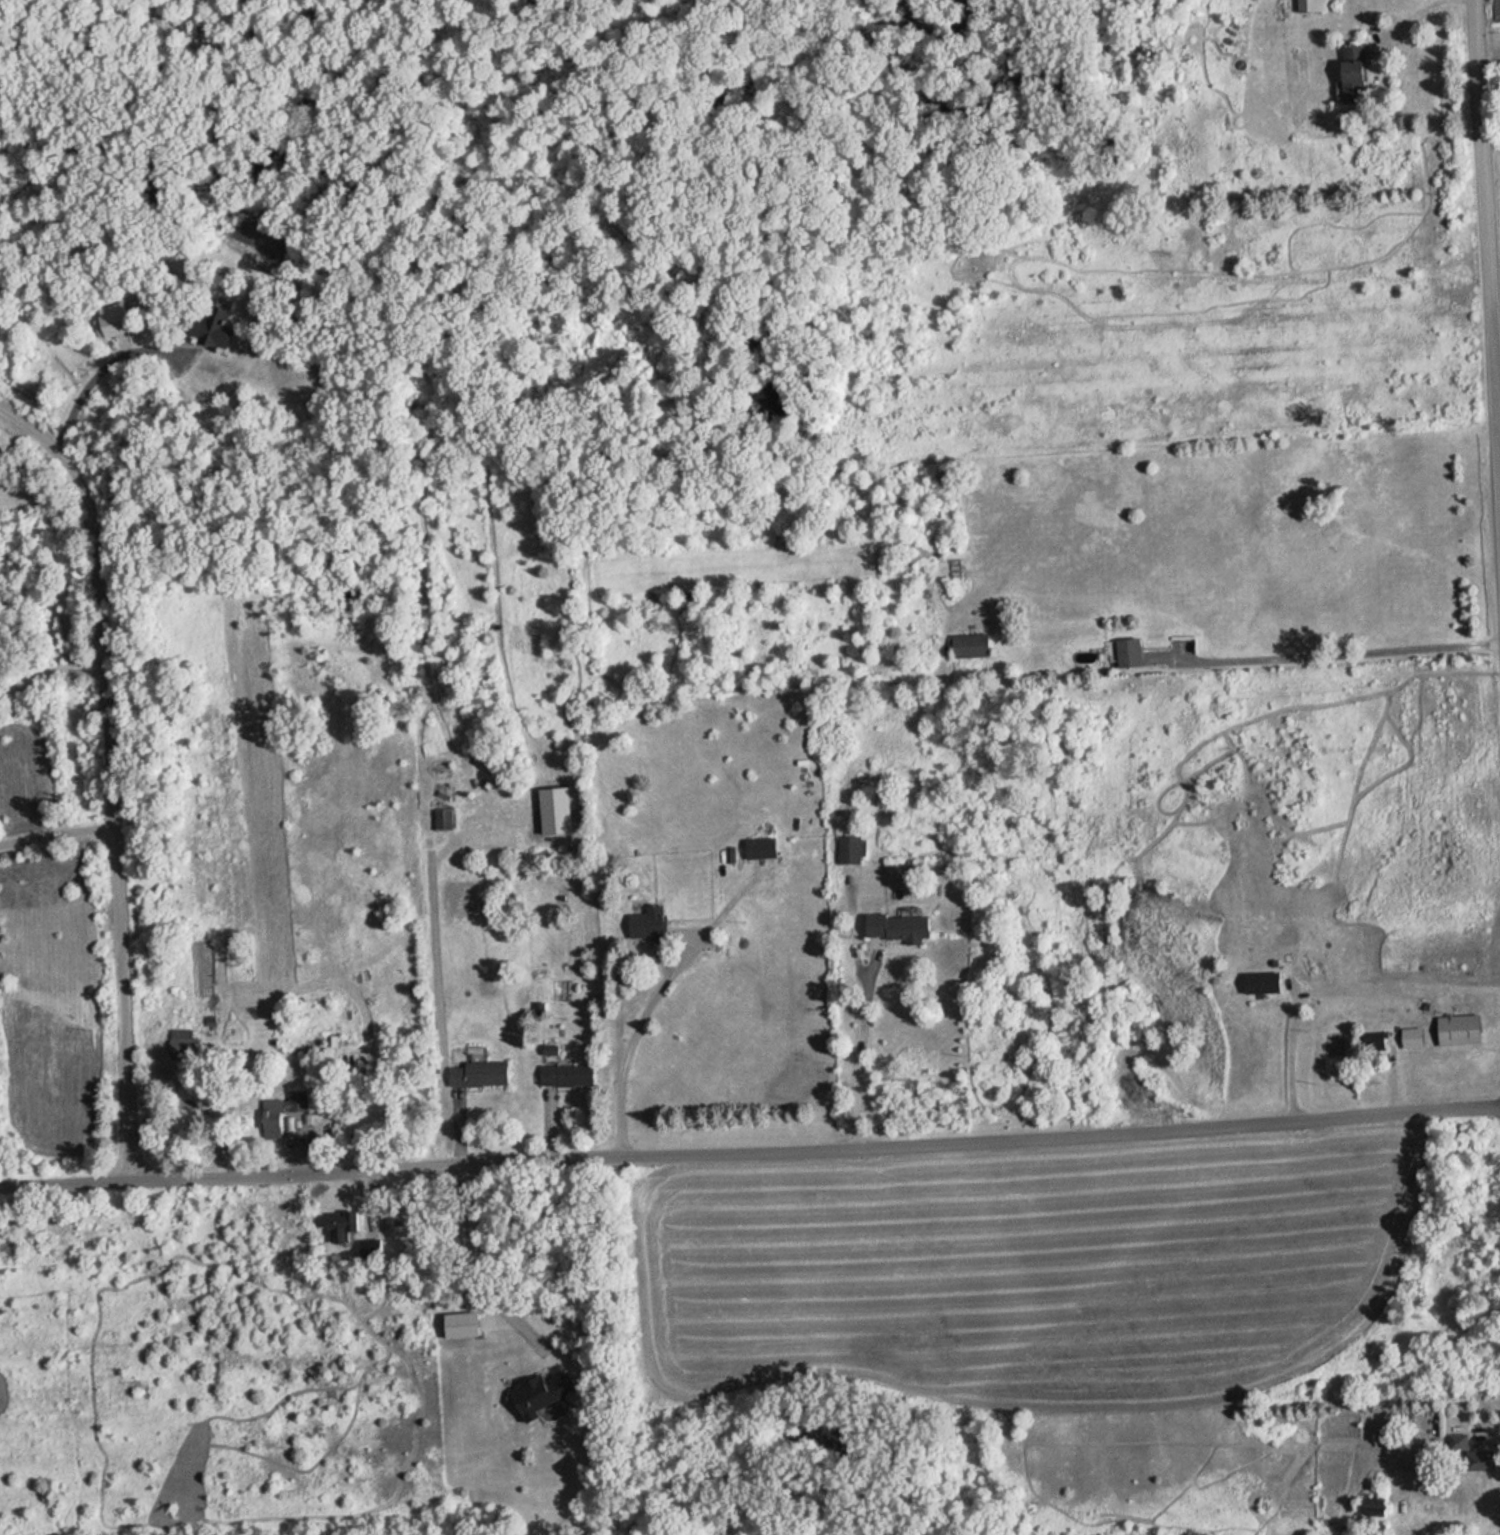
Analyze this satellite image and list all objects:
building: (1499, 10)
road: (1407, 23)
building: (1356, 73)
road: (1489, 216)
building: (119, 322)
building: (215, 326)
road: (101, 371)
building: (972, 644)
building: (1132, 651)
road: (1304, 654)
road: (50, 672)
road: (111, 777)
road: (57, 833)
building: (763, 847)
building: (850, 847)
building: (649, 924)
building: (902, 926)
building: (1264, 982)
road: (1341, 993)
building: (1462, 1029)
building: (1414, 1037)
building: (1379, 1039)
road: (630, 1041)
building: (184, 1047)
road: (859, 1047)
building: (480, 1072)
building: (569, 1074)
building: (284, 1107)
road: (750, 1146)
building: (344, 1225)
road: (473, 1249)
building: (1484, 1459)

